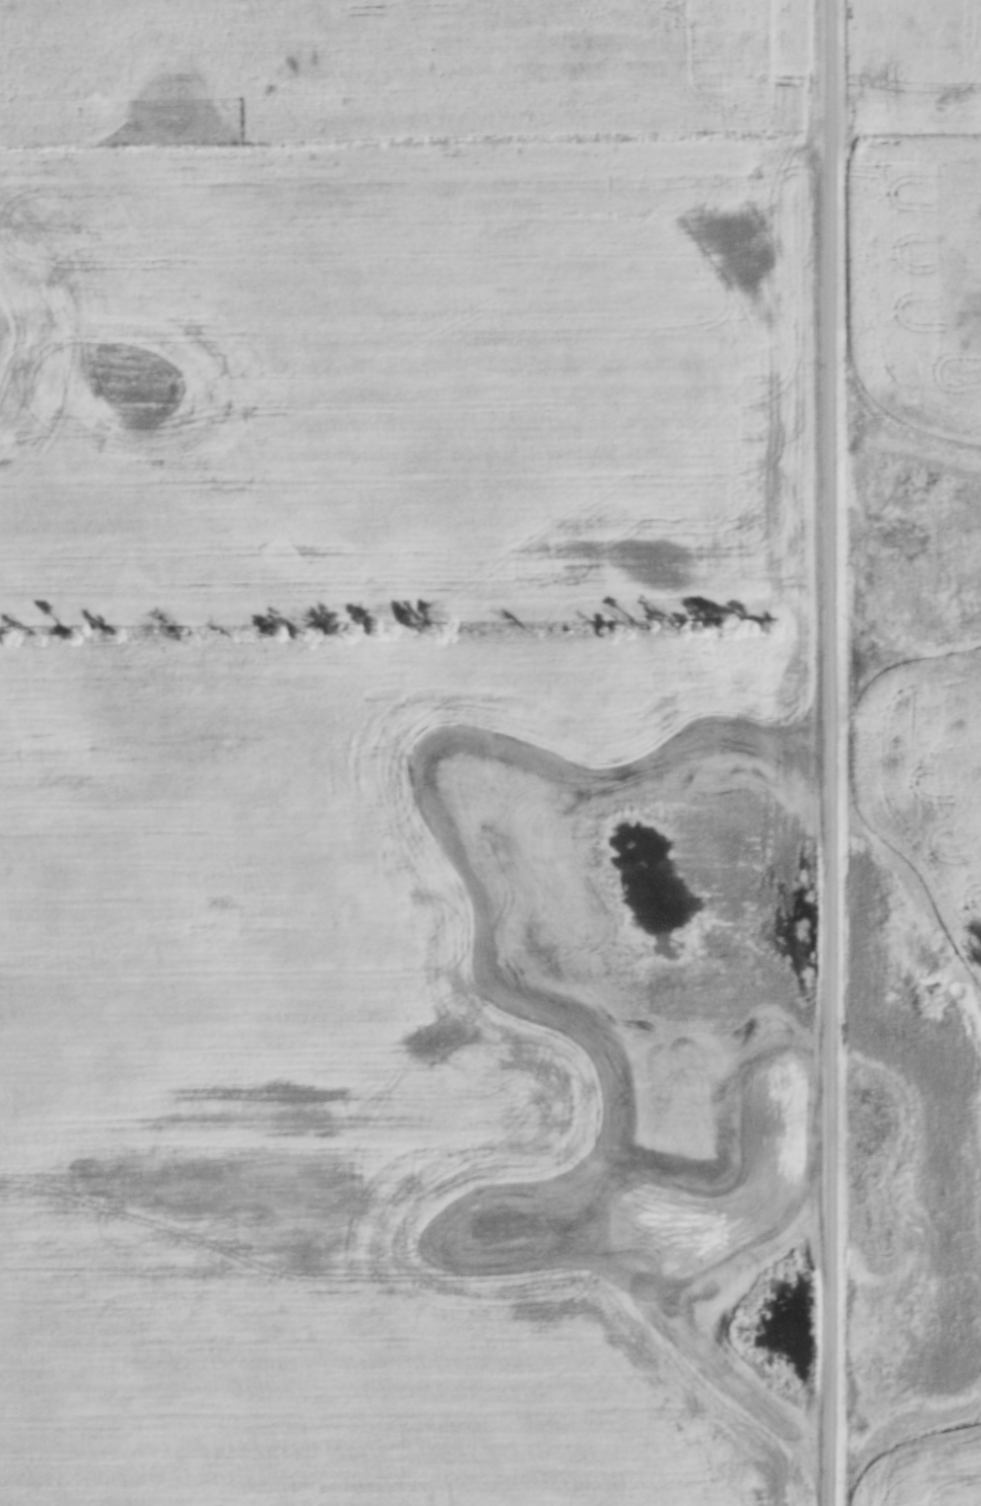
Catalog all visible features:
road: (833, 753)

